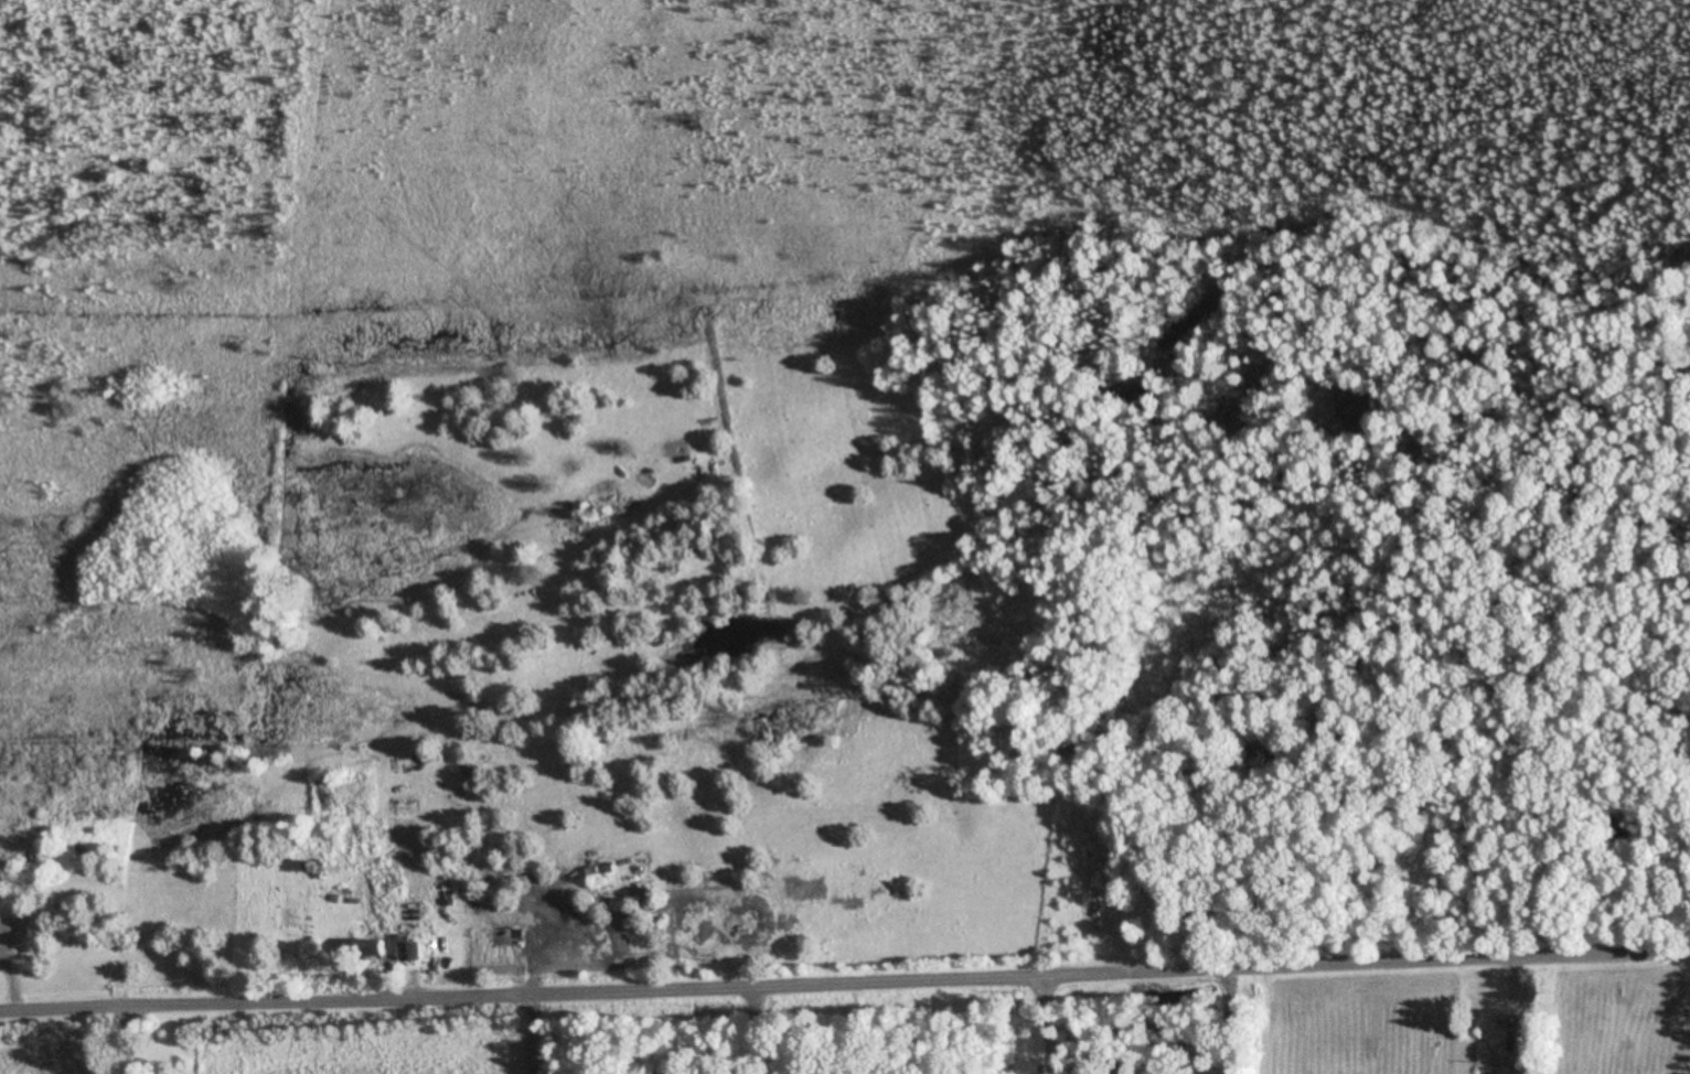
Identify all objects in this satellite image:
building: (22, 927)
building: (379, 947)
building: (411, 954)
building: (288, 958)
road: (845, 1010)

